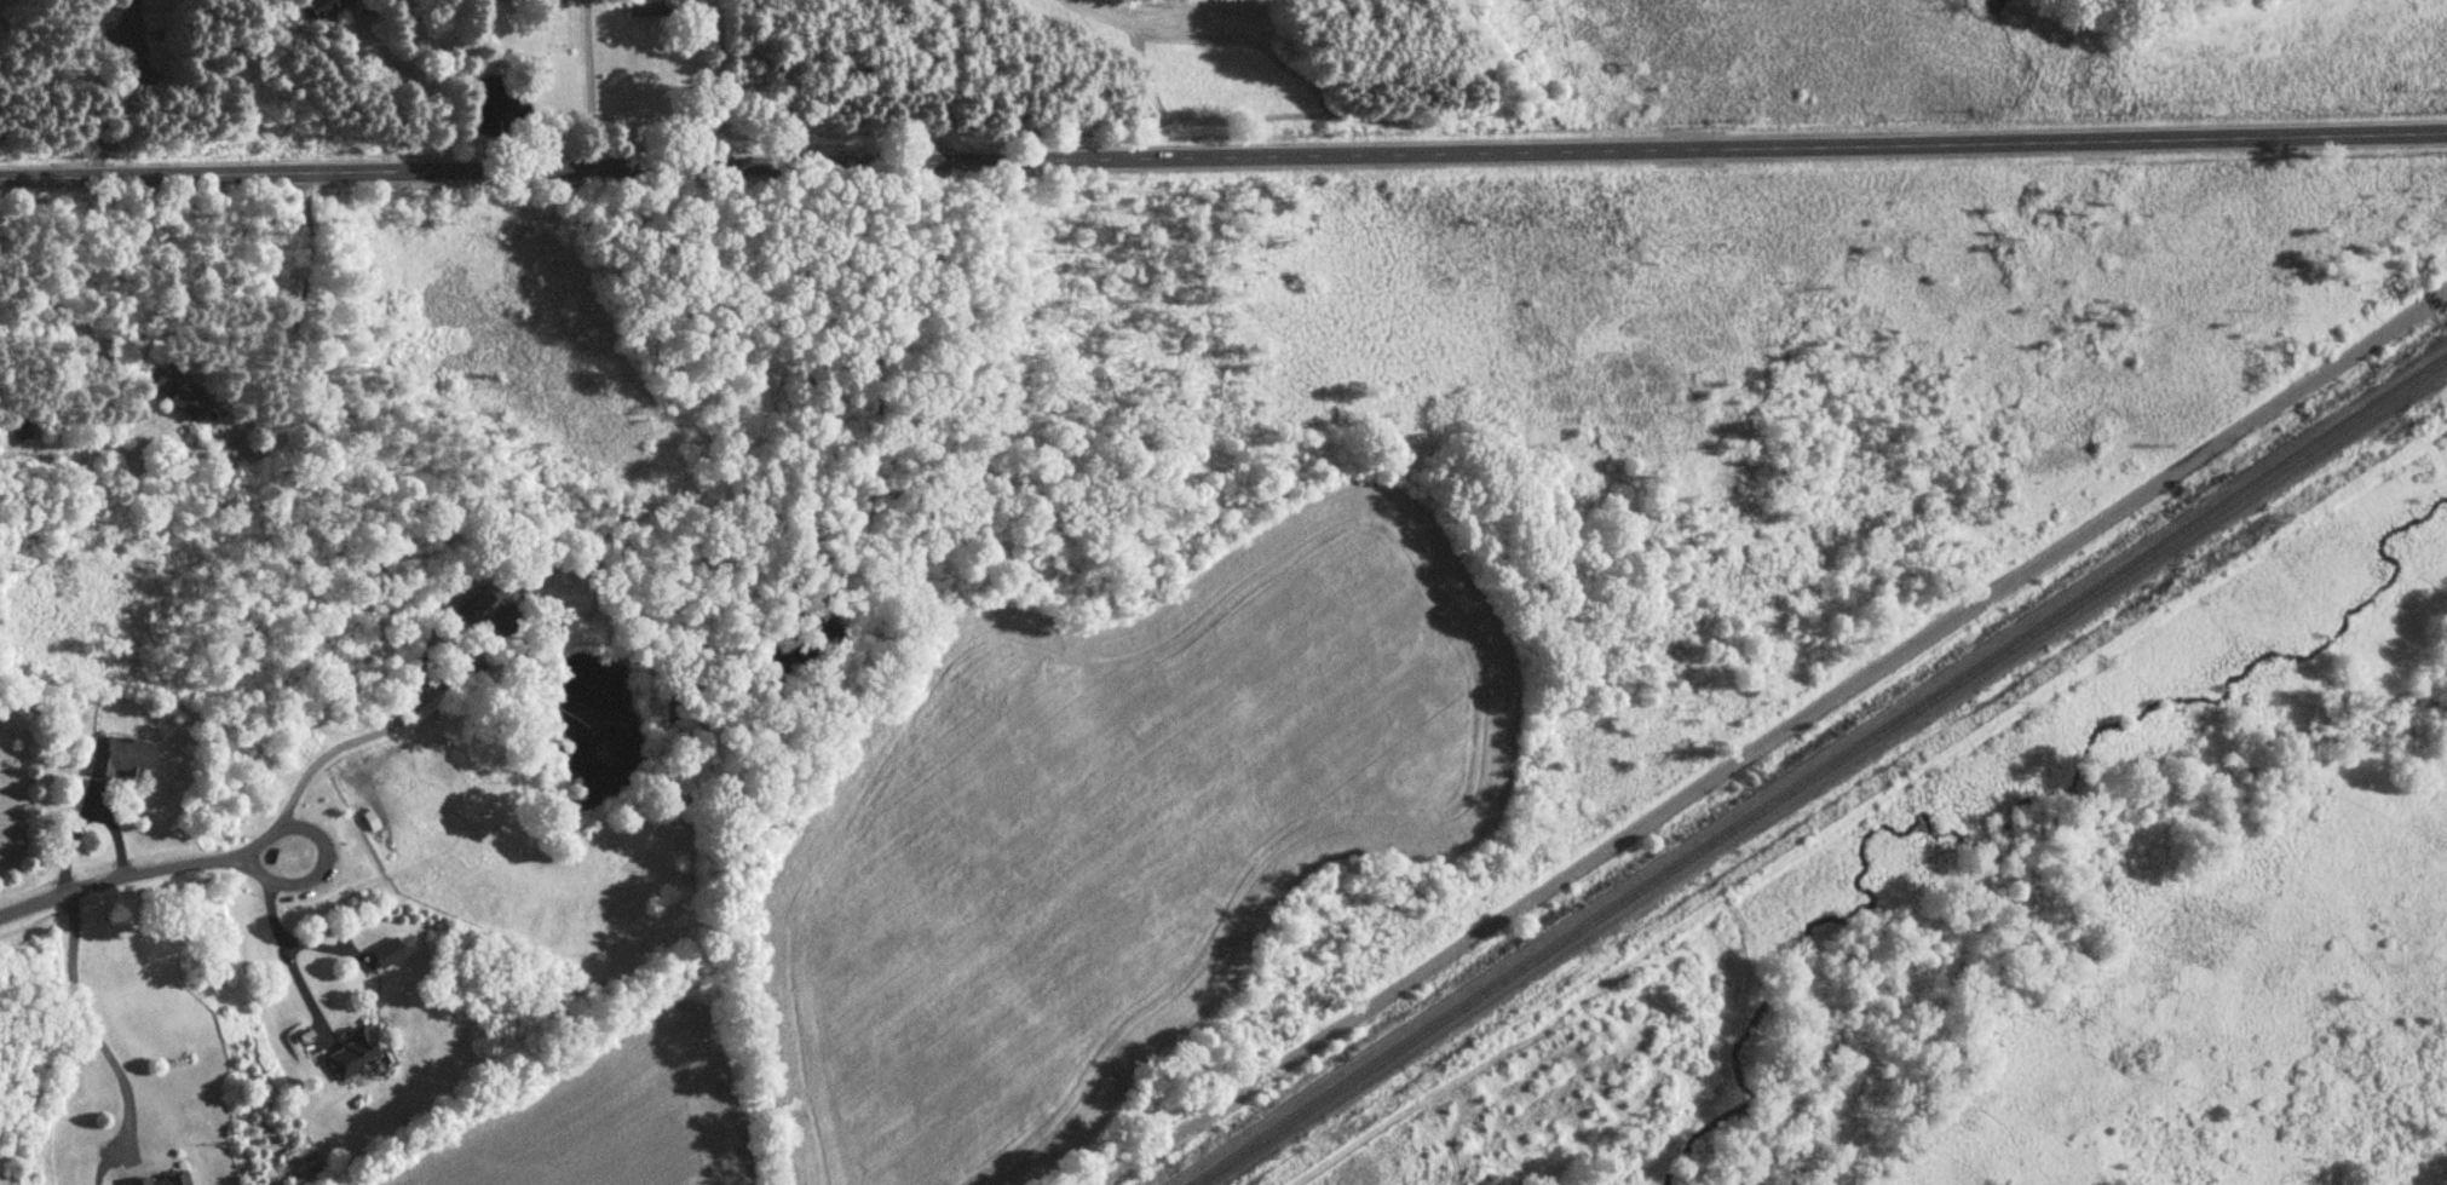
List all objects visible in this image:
building: (318, 7)
building: (643, 7)
road: (419, 81)
road: (938, 81)
road: (587, 84)
road: (115, 90)
road: (1222, 156)
road: (2442, 295)
building: (183, 397)
building: (16, 431)
building: (490, 609)
road: (396, 715)
building: (295, 731)
road: (1771, 743)
building: (125, 760)
railway: (1827, 778)
crop: (1117, 826)
road: (145, 872)
road: (281, 934)
building: (390, 955)
road: (90, 1030)
building: (361, 1055)
crop: (601, 1116)
building: (166, 1180)

